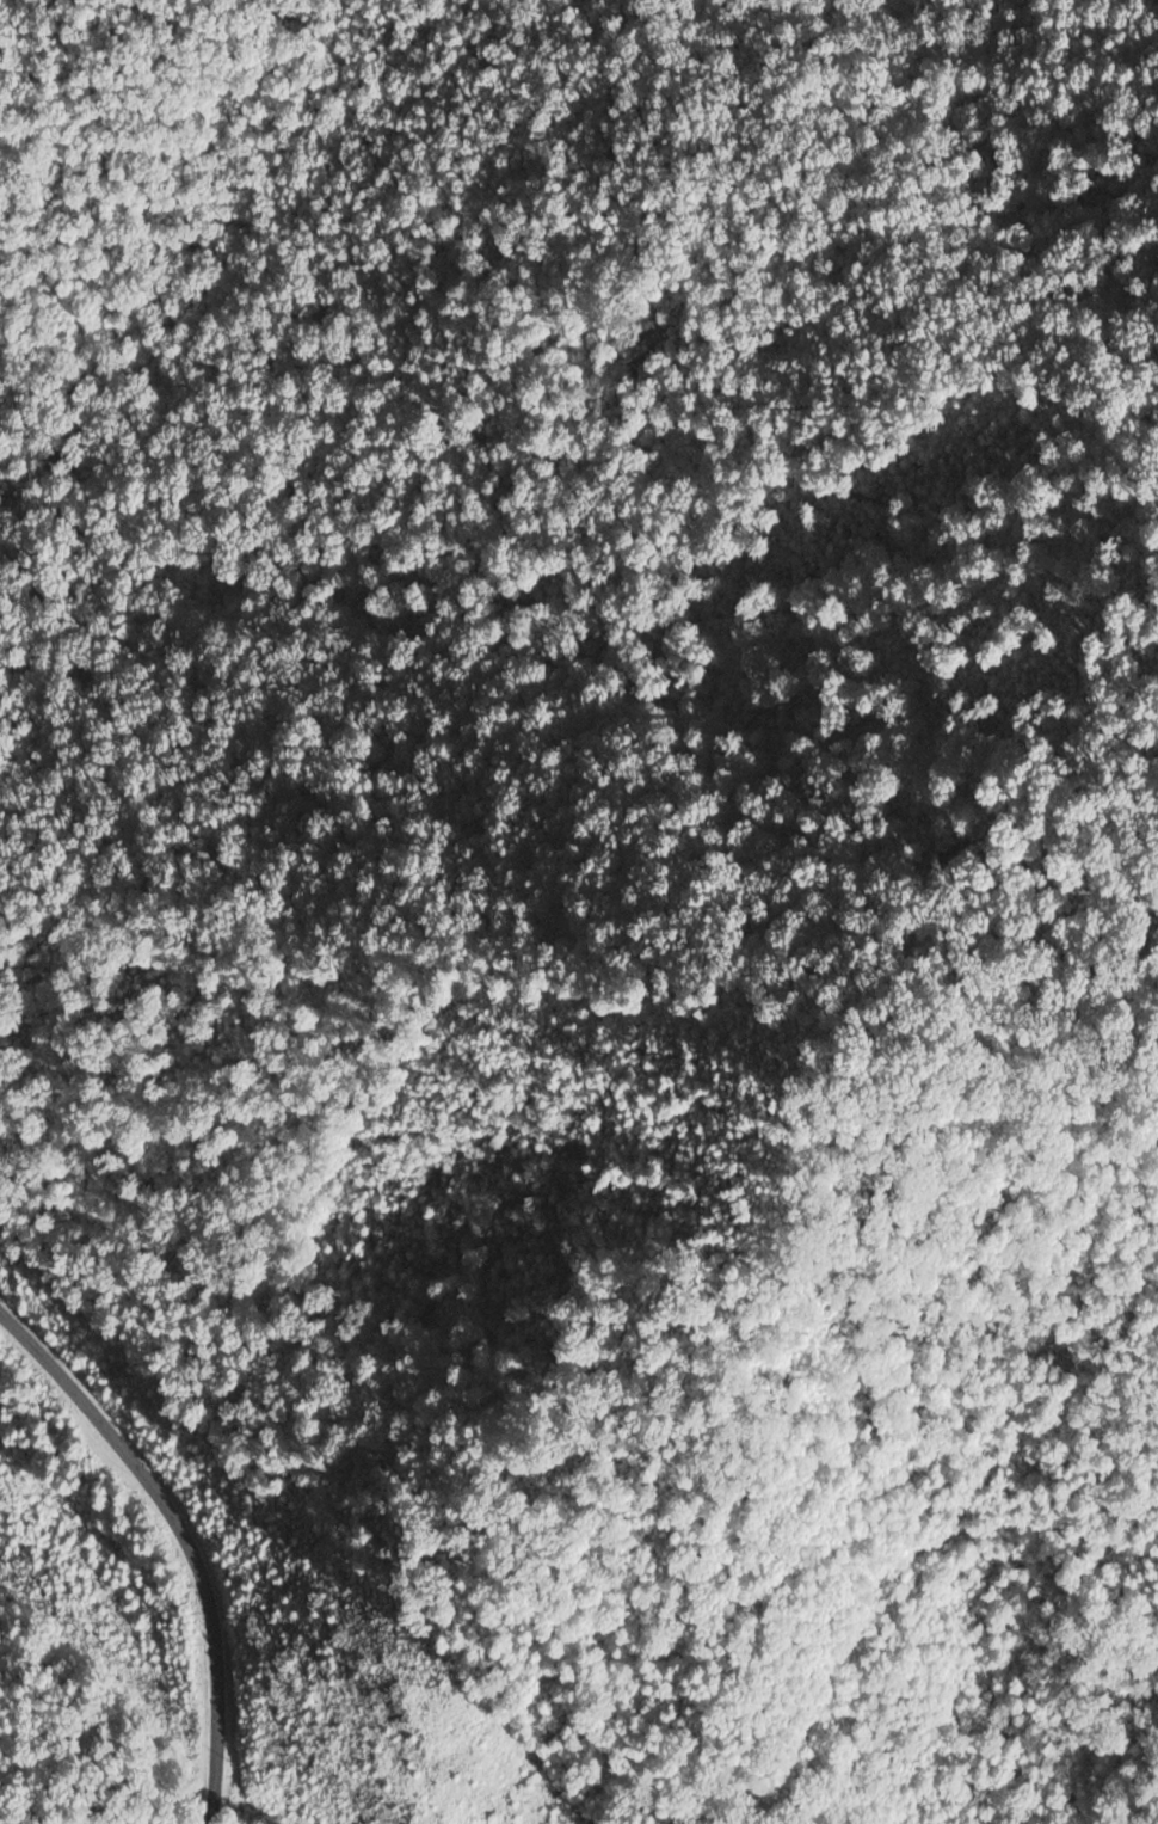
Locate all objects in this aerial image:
road: (181, 1540)
power tower: (390, 1709)
power tower: (358, 1802)

